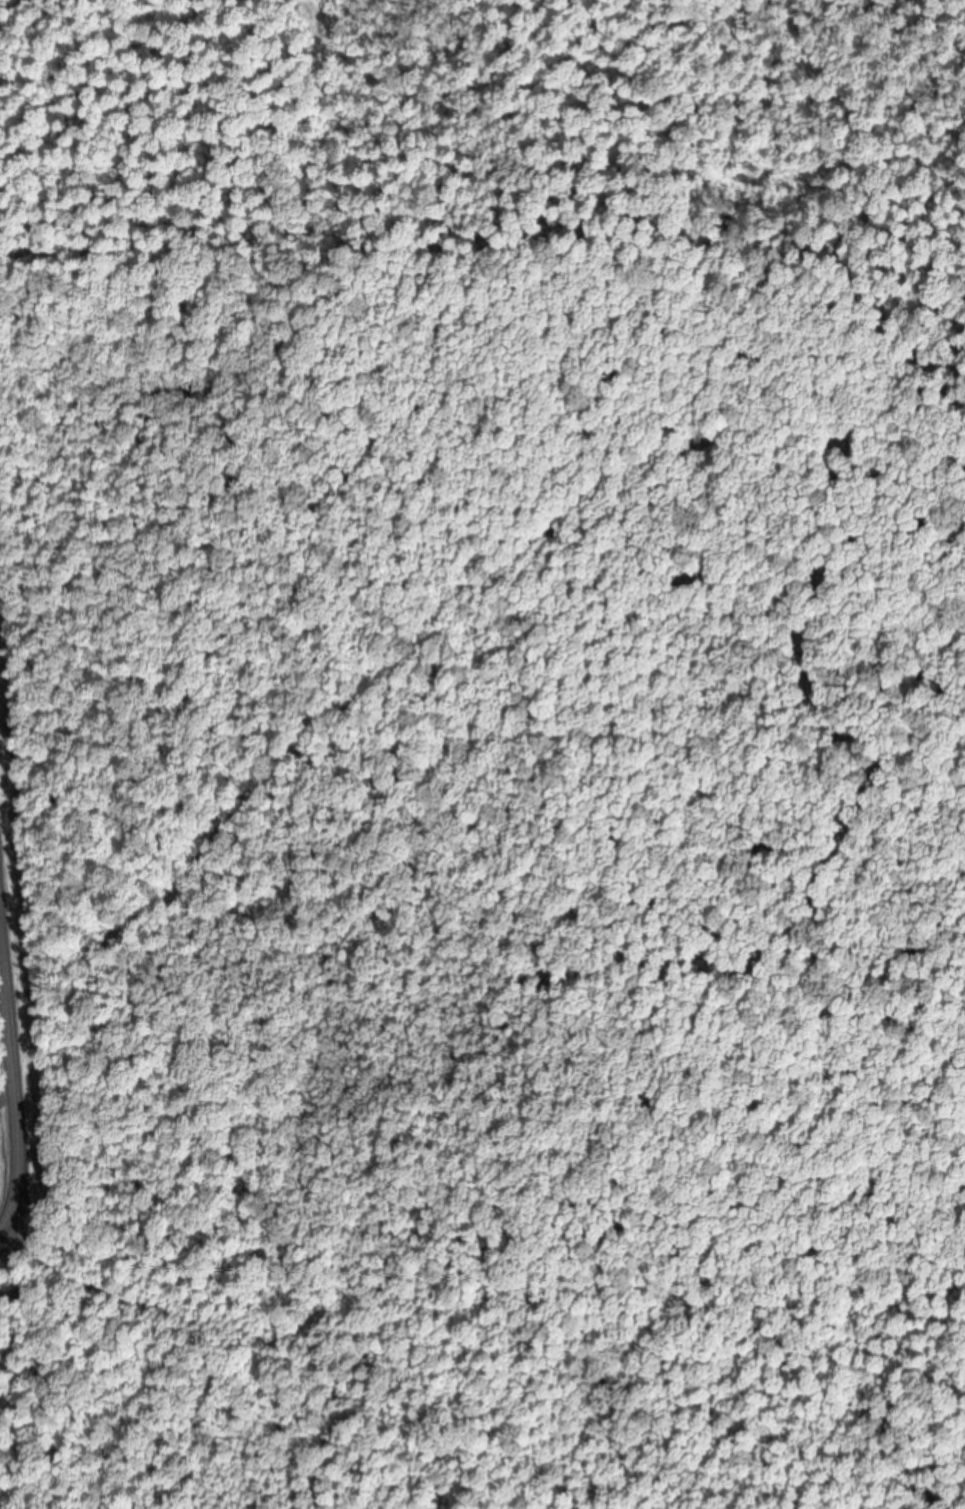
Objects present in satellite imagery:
road: (16, 990)

